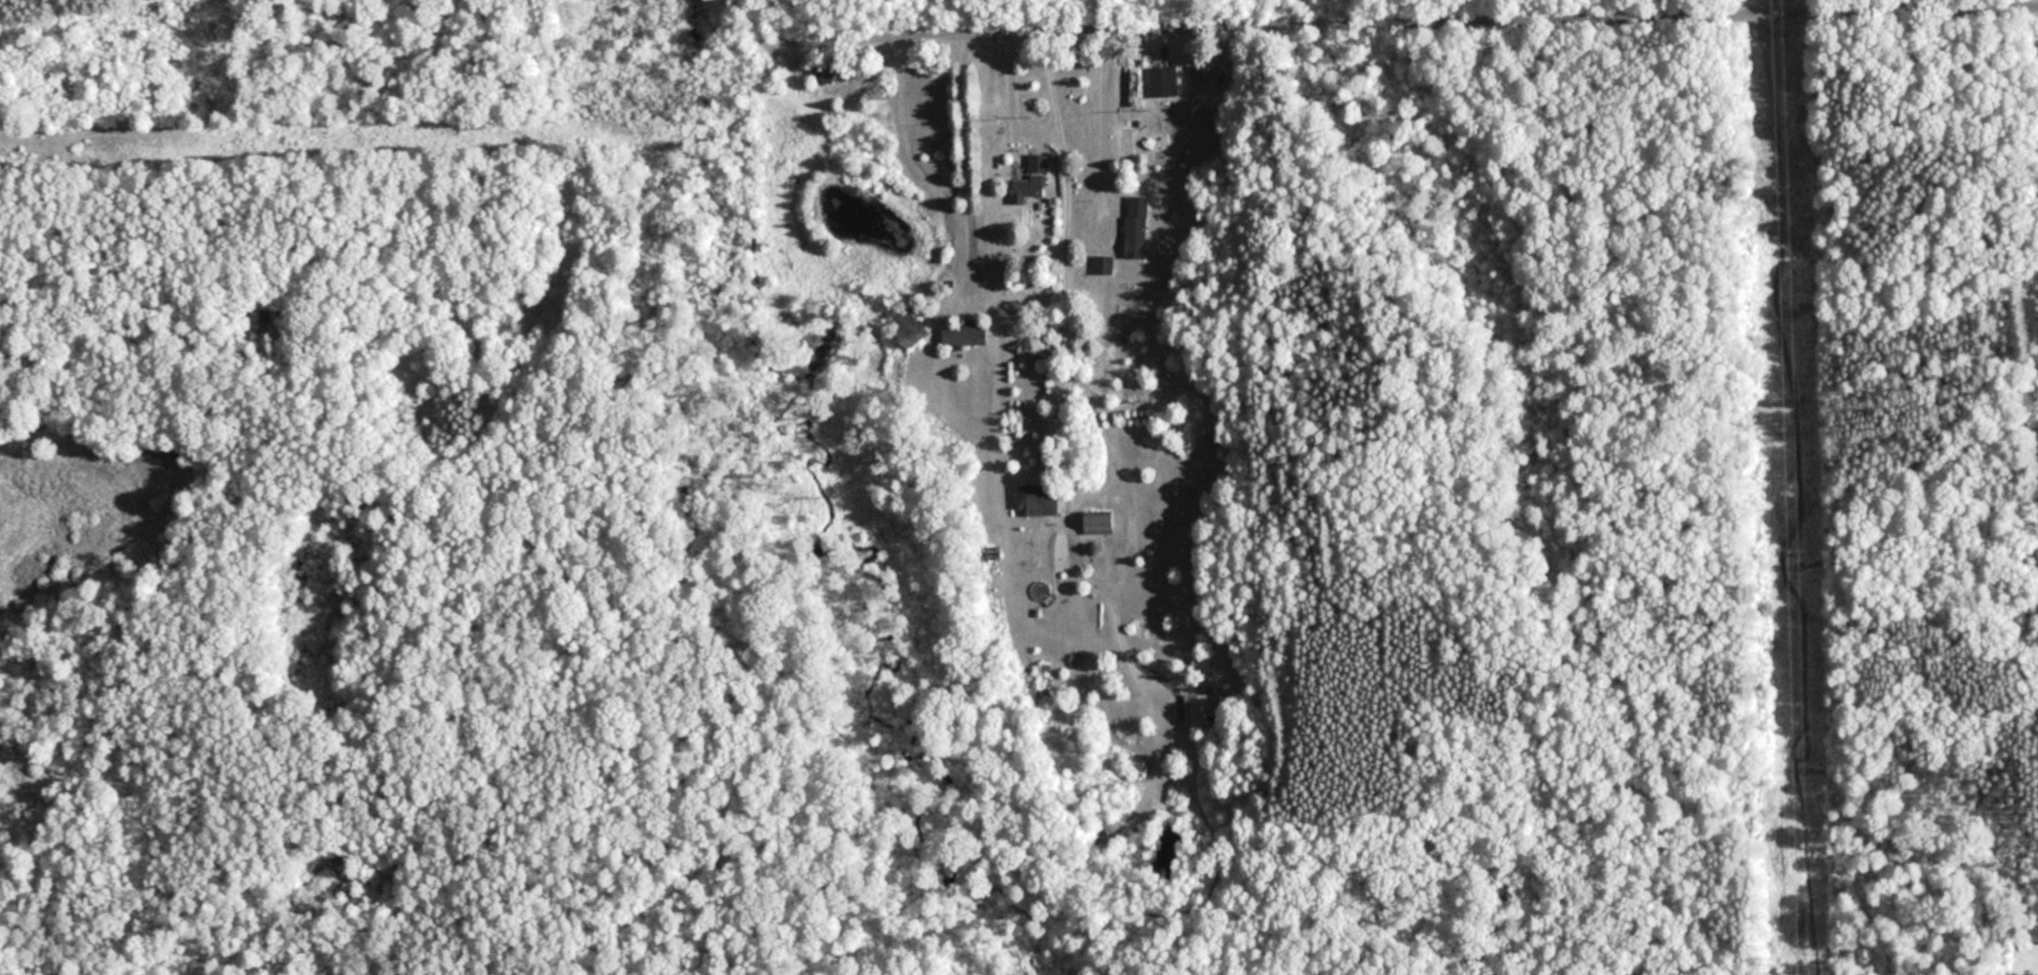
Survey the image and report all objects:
road: (1470, 27)
building: (821, 72)
building: (1164, 81)
building: (1134, 85)
road: (961, 157)
building: (1030, 180)
building: (1136, 226)
building: (1103, 264)
road: (1084, 292)
building: (912, 325)
building: (966, 334)
park: (399, 491)
building: (1035, 497)
power tower: (1790, 508)
building: (1100, 522)
road: (1709, 968)
power tower: (1804, 973)

